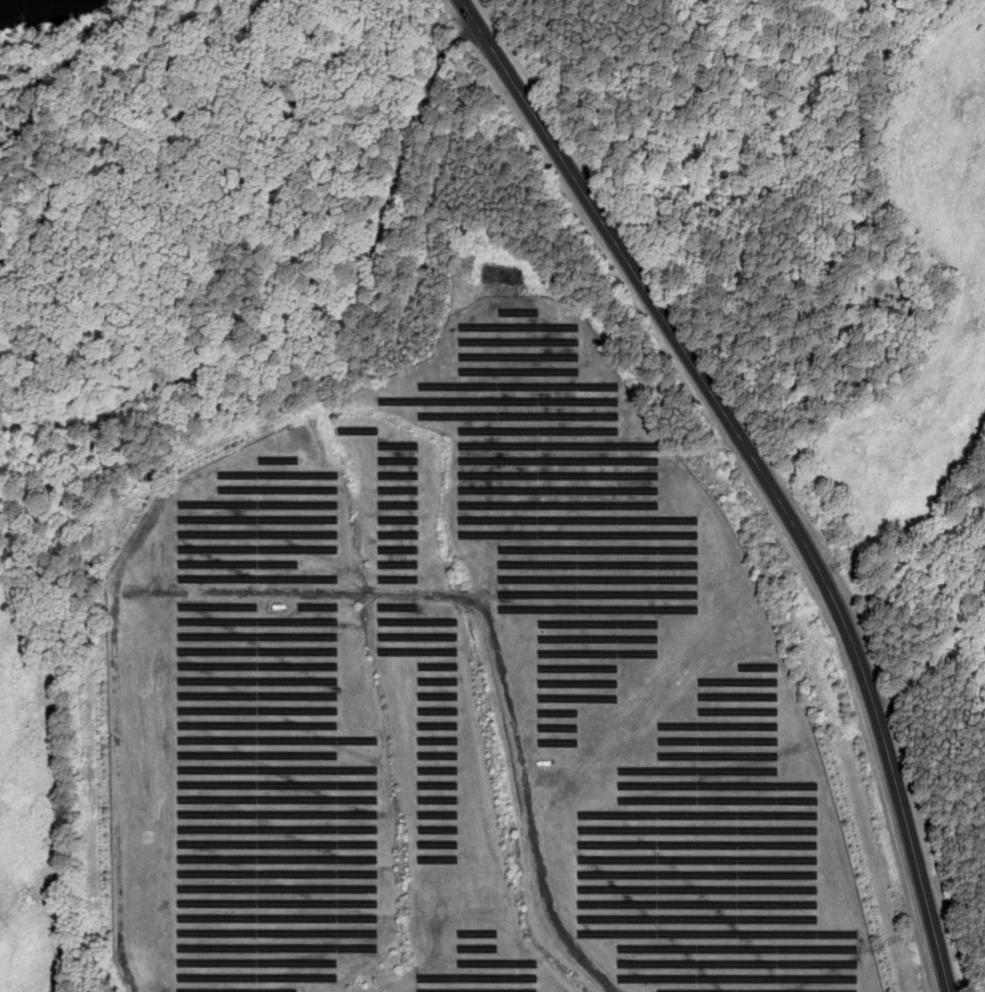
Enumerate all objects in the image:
road: (471, 13)
road: (463, 37)
parking lot: (450, 39)
road: (728, 44)
road: (498, 57)
road: (340, 288)
road: (53, 425)
road: (61, 468)
road: (790, 515)
road: (159, 567)
road: (492, 627)
road: (116, 684)
solar farm: (465, 705)

